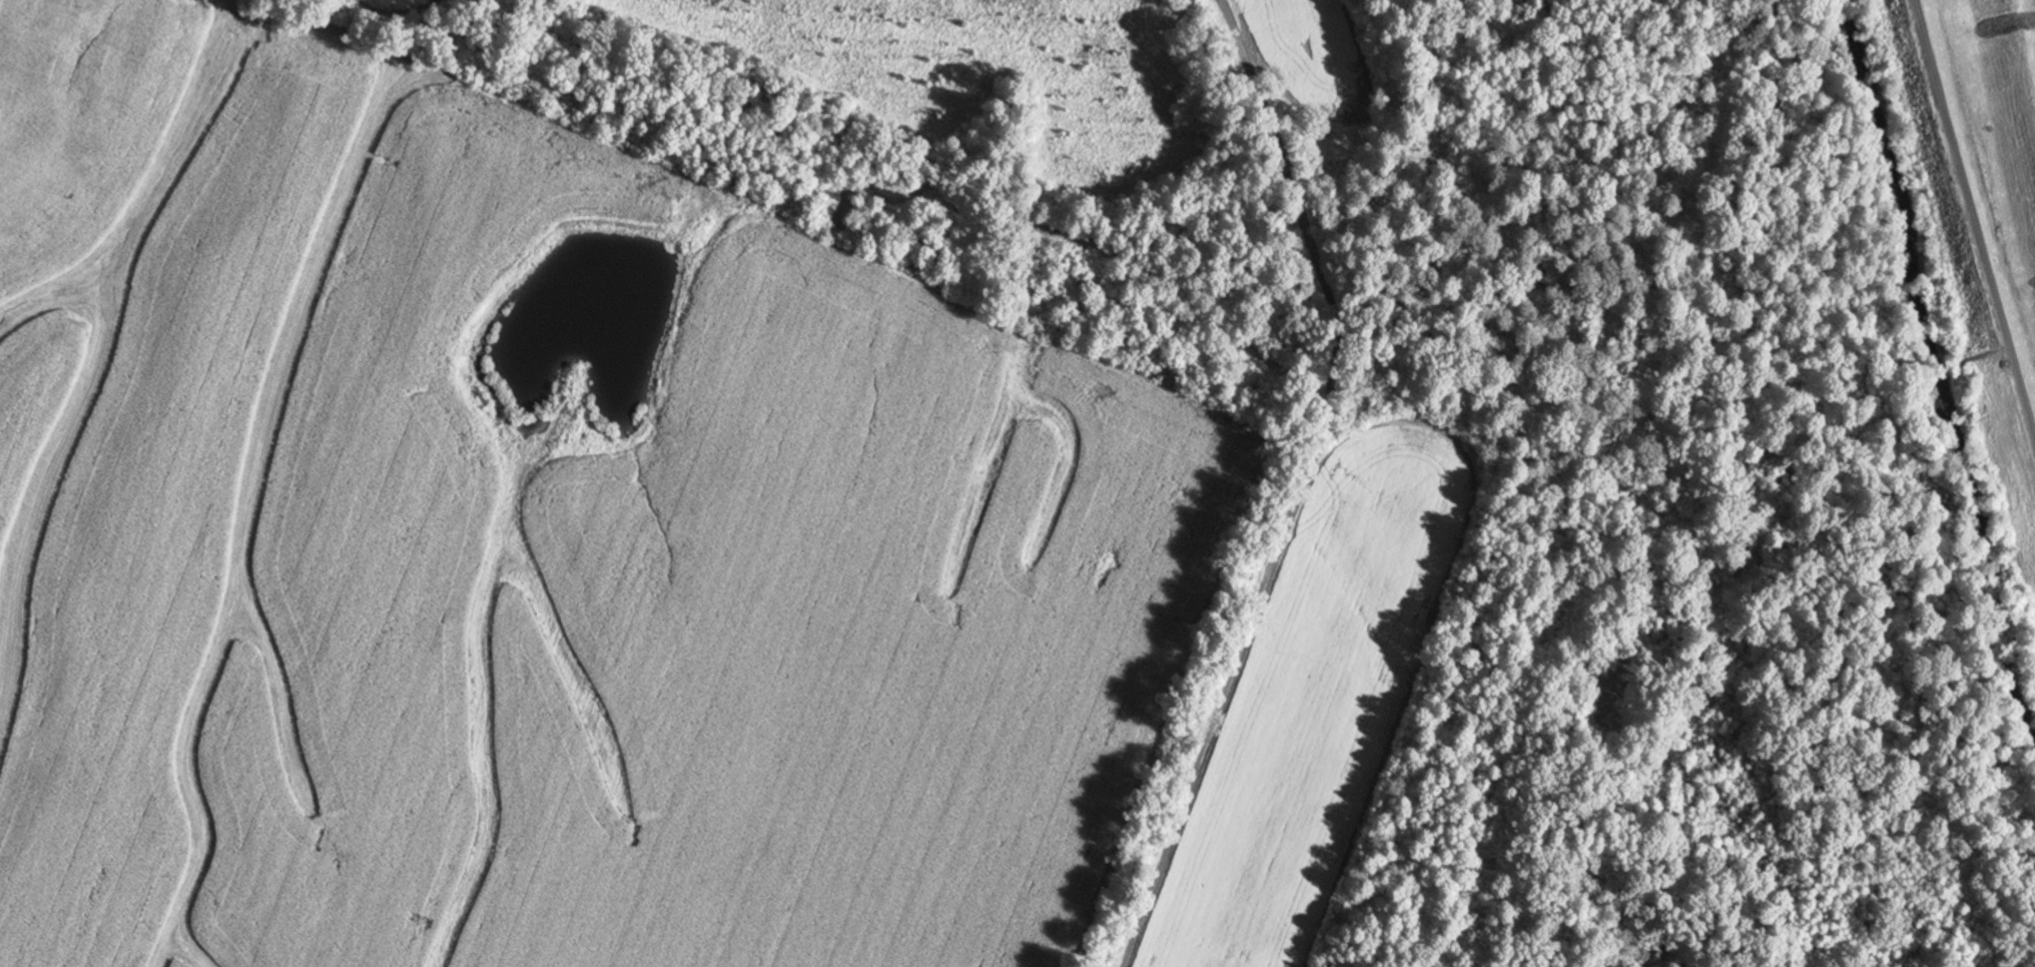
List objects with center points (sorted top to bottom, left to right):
road: (1978, 219)

